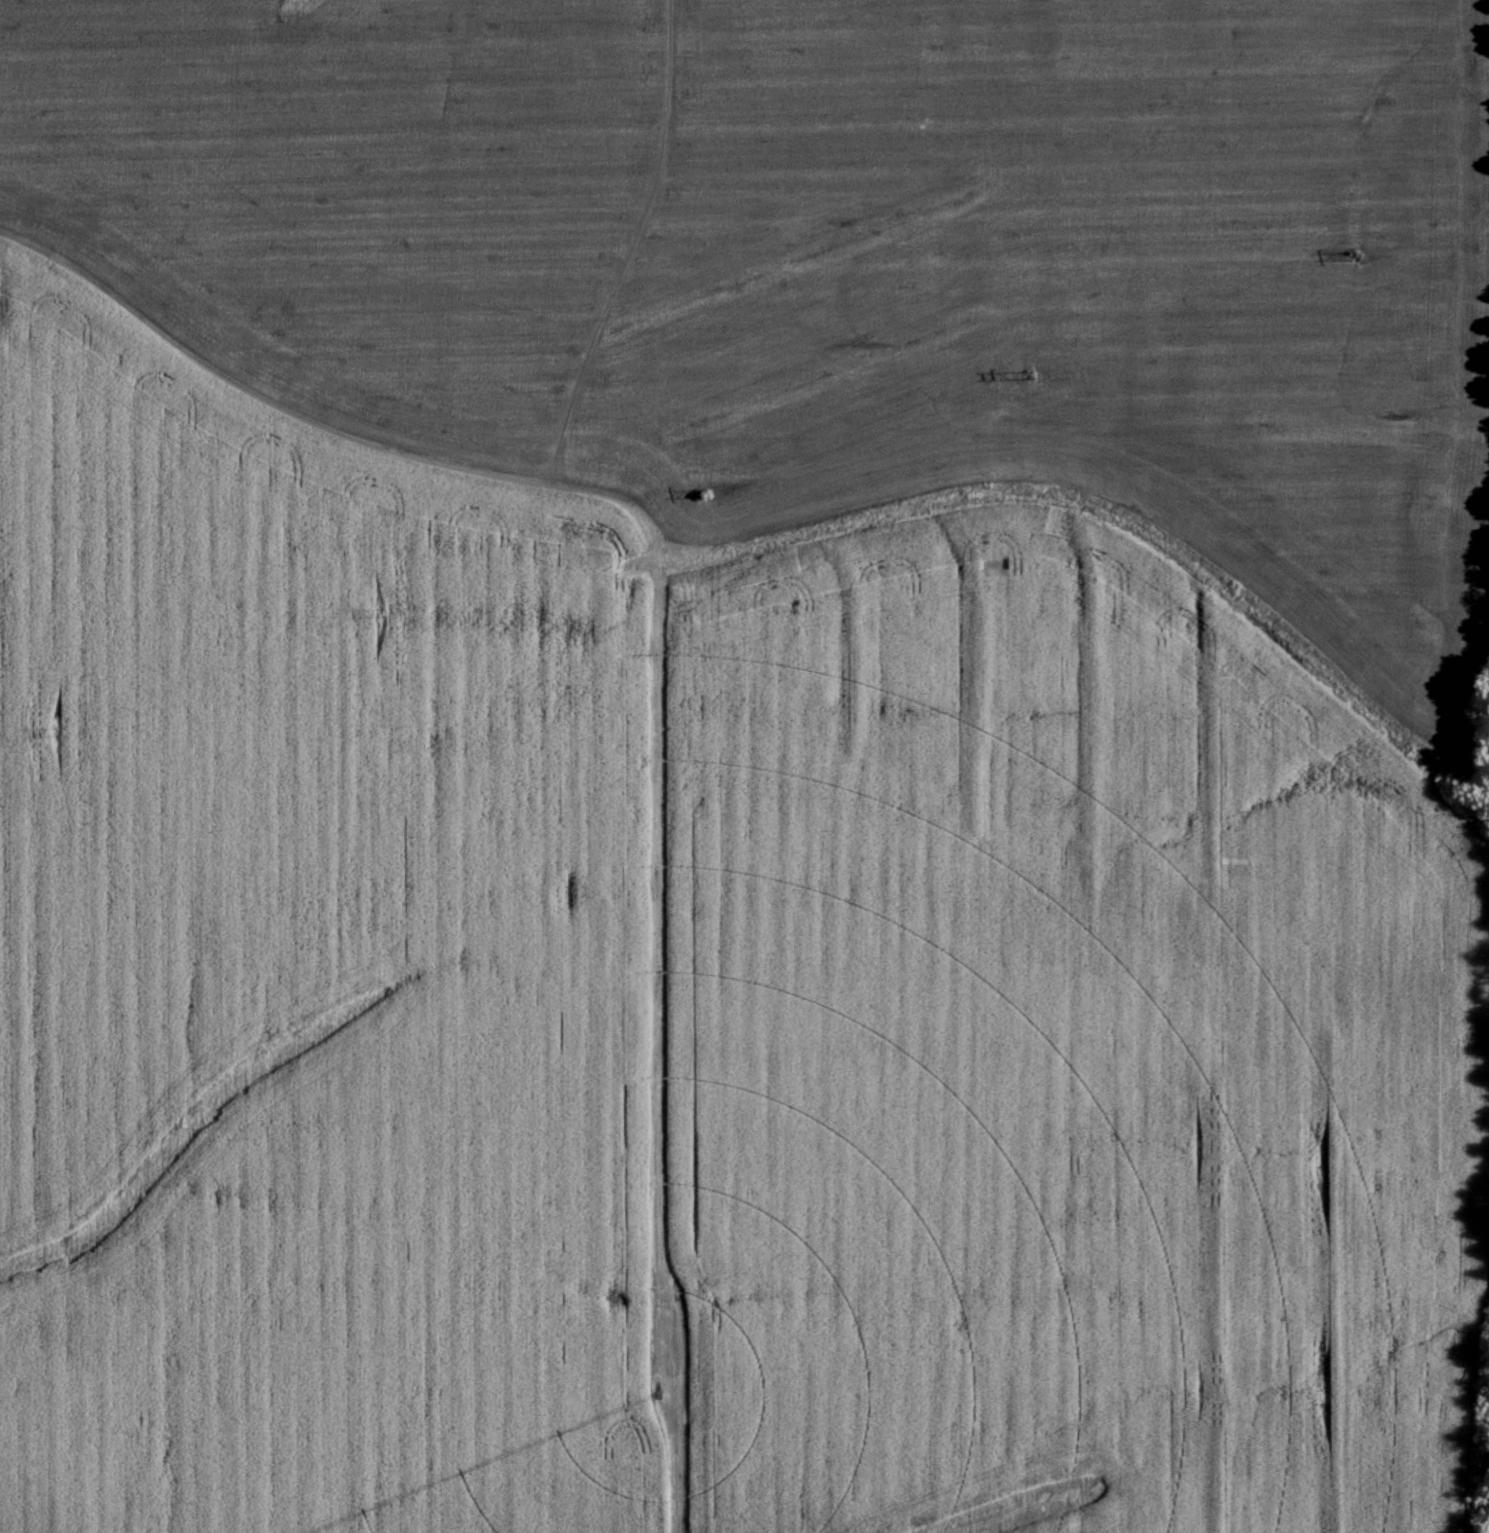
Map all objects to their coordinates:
road: (308, 420)

